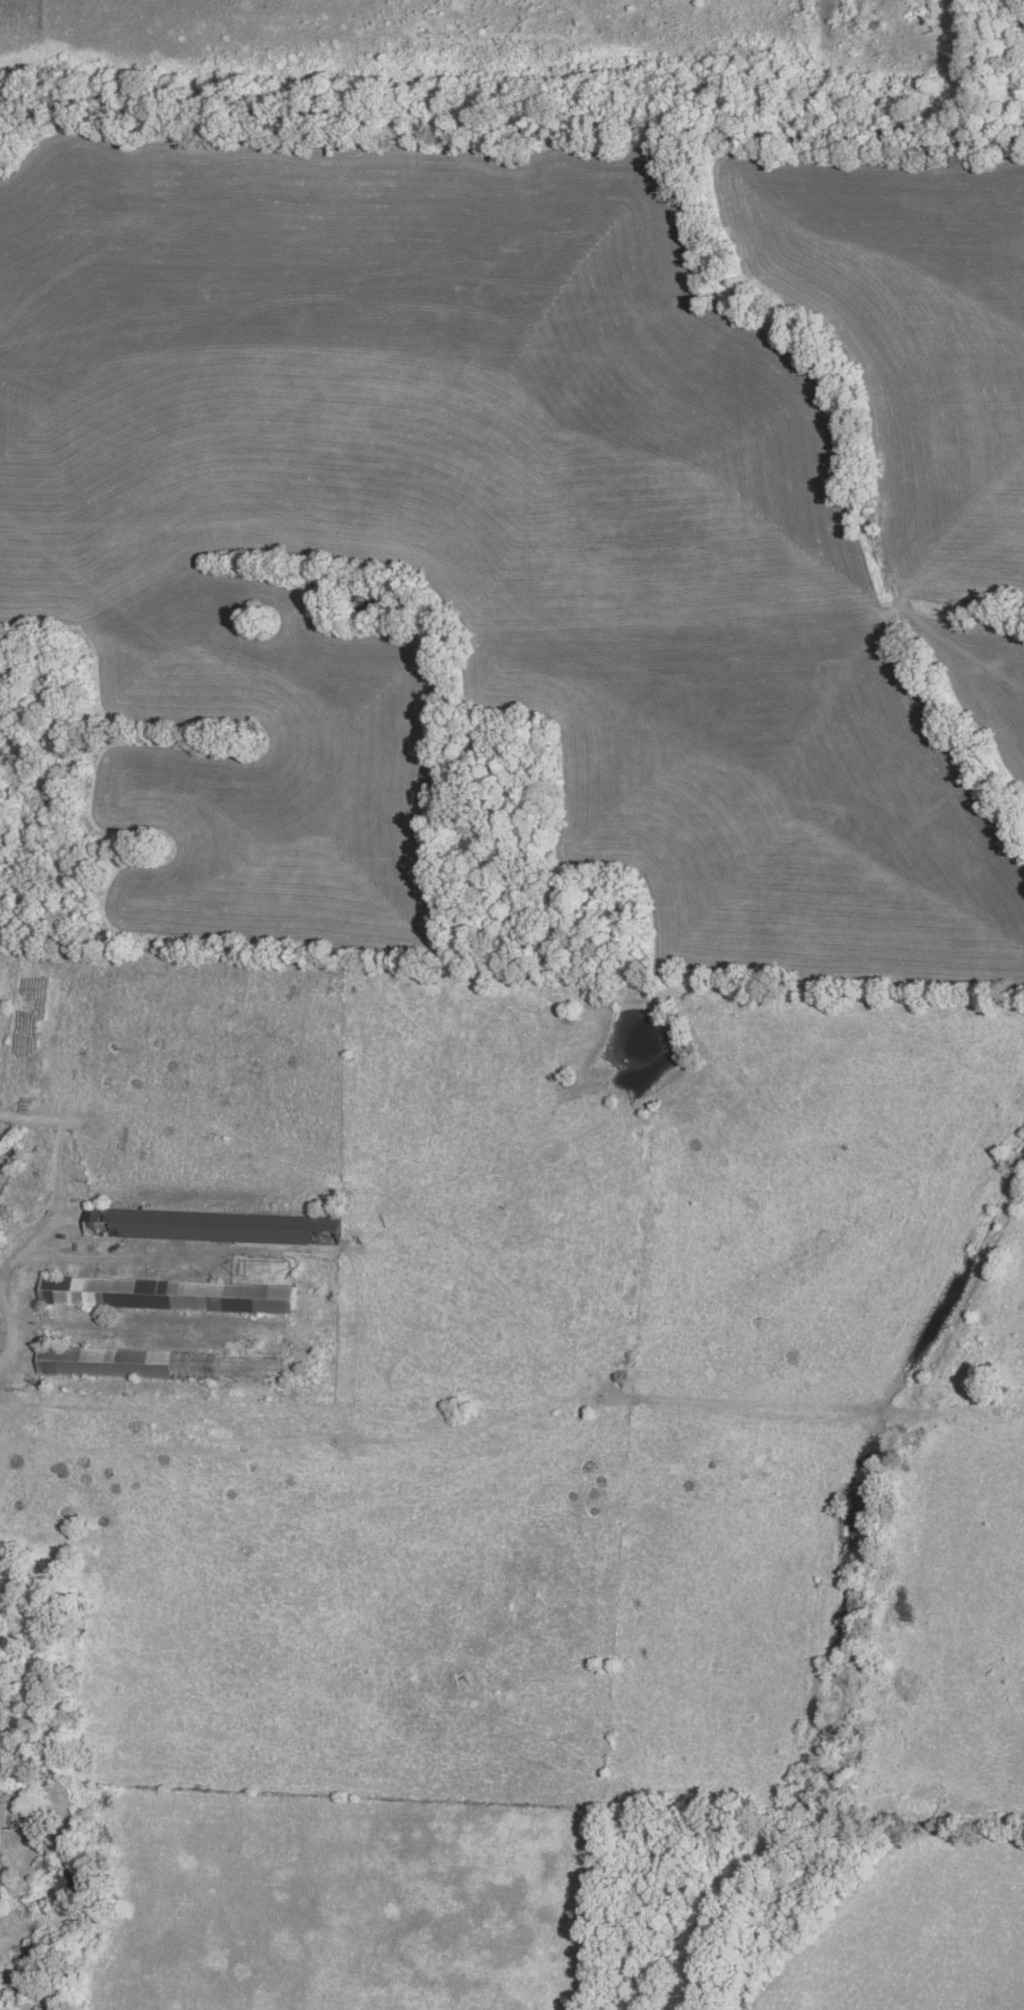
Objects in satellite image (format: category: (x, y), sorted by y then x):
road: (422, 1199)
building: (217, 1224)
road: (123, 1249)
building: (171, 1293)
building: (108, 1360)
building: (6, 1819)

